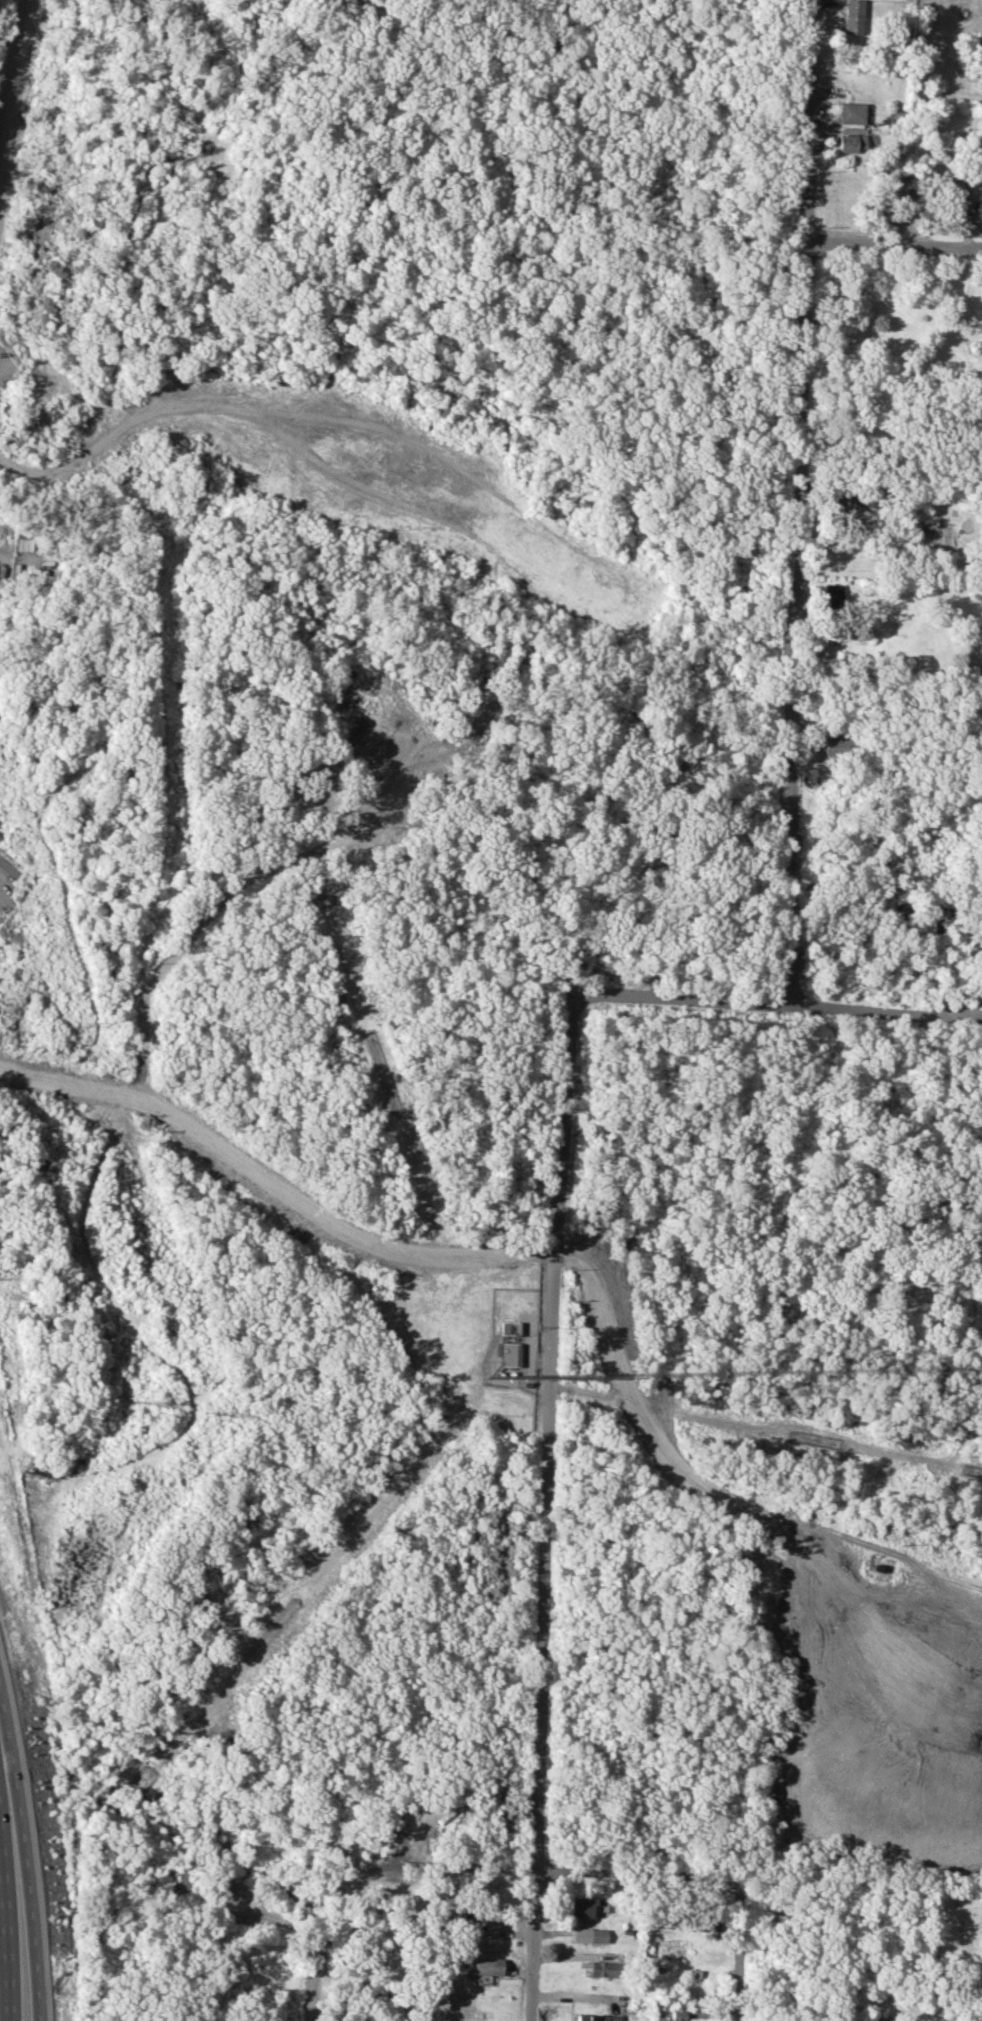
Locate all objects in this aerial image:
building: (852, 16)
road: (15, 80)
building: (850, 113)
building: (850, 142)
building: (951, 190)
building: (901, 201)
road: (893, 242)
road: (144, 415)
building: (872, 498)
road: (795, 500)
building: (836, 508)
building: (831, 595)
building: (839, 748)
road: (2, 893)
road: (773, 1000)
power tower: (82, 1025)
power tower: (44, 1134)
road: (272, 1185)
building: (509, 1327)
building: (508, 1353)
power tower: (136, 1401)
power tower: (217, 1414)
road: (544, 1512)
road: (908, 1556)
road: (25, 1869)
road: (636, 1871)
building: (580, 1906)
building: (589, 1934)
road: (5, 1940)
road: (741, 1952)
road: (97, 1954)
building: (605, 1968)
road: (318, 2005)
building: (675, 2016)
building: (598, 2017)

